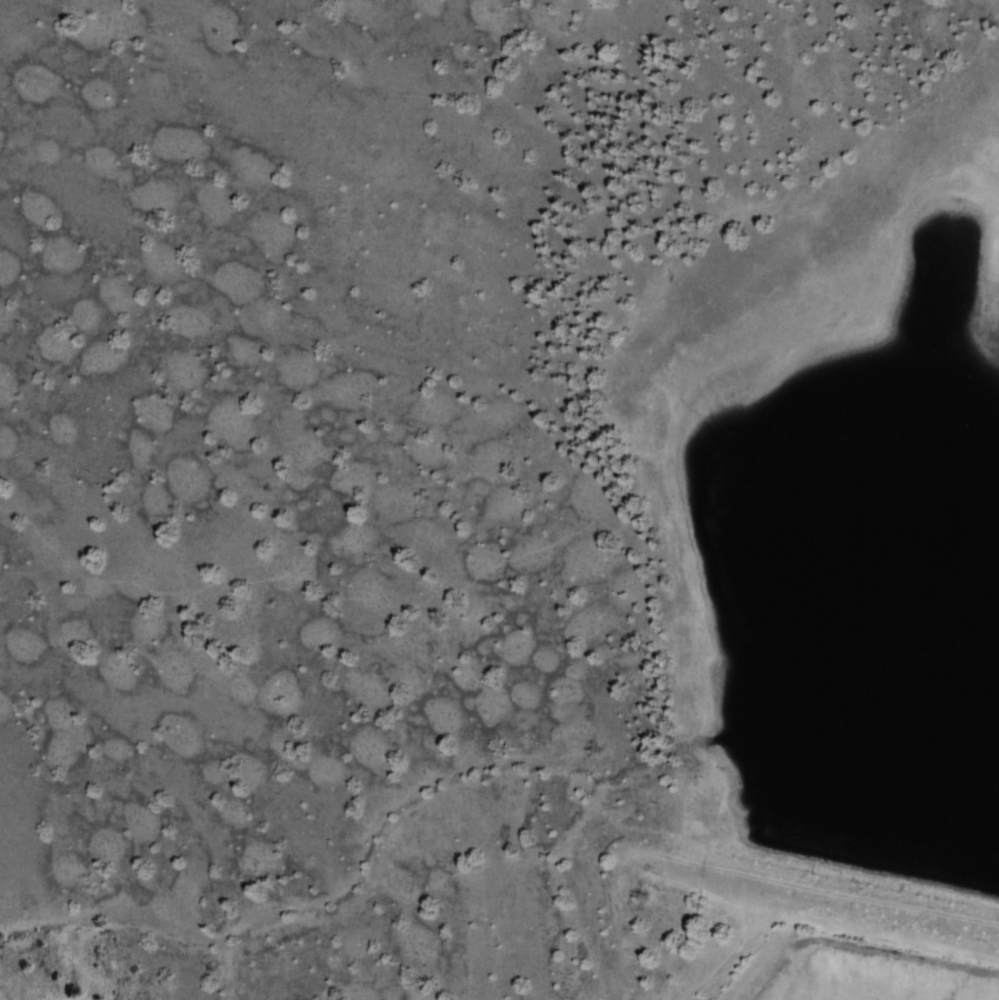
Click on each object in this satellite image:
road: (697, 863)
dam: (806, 869)

